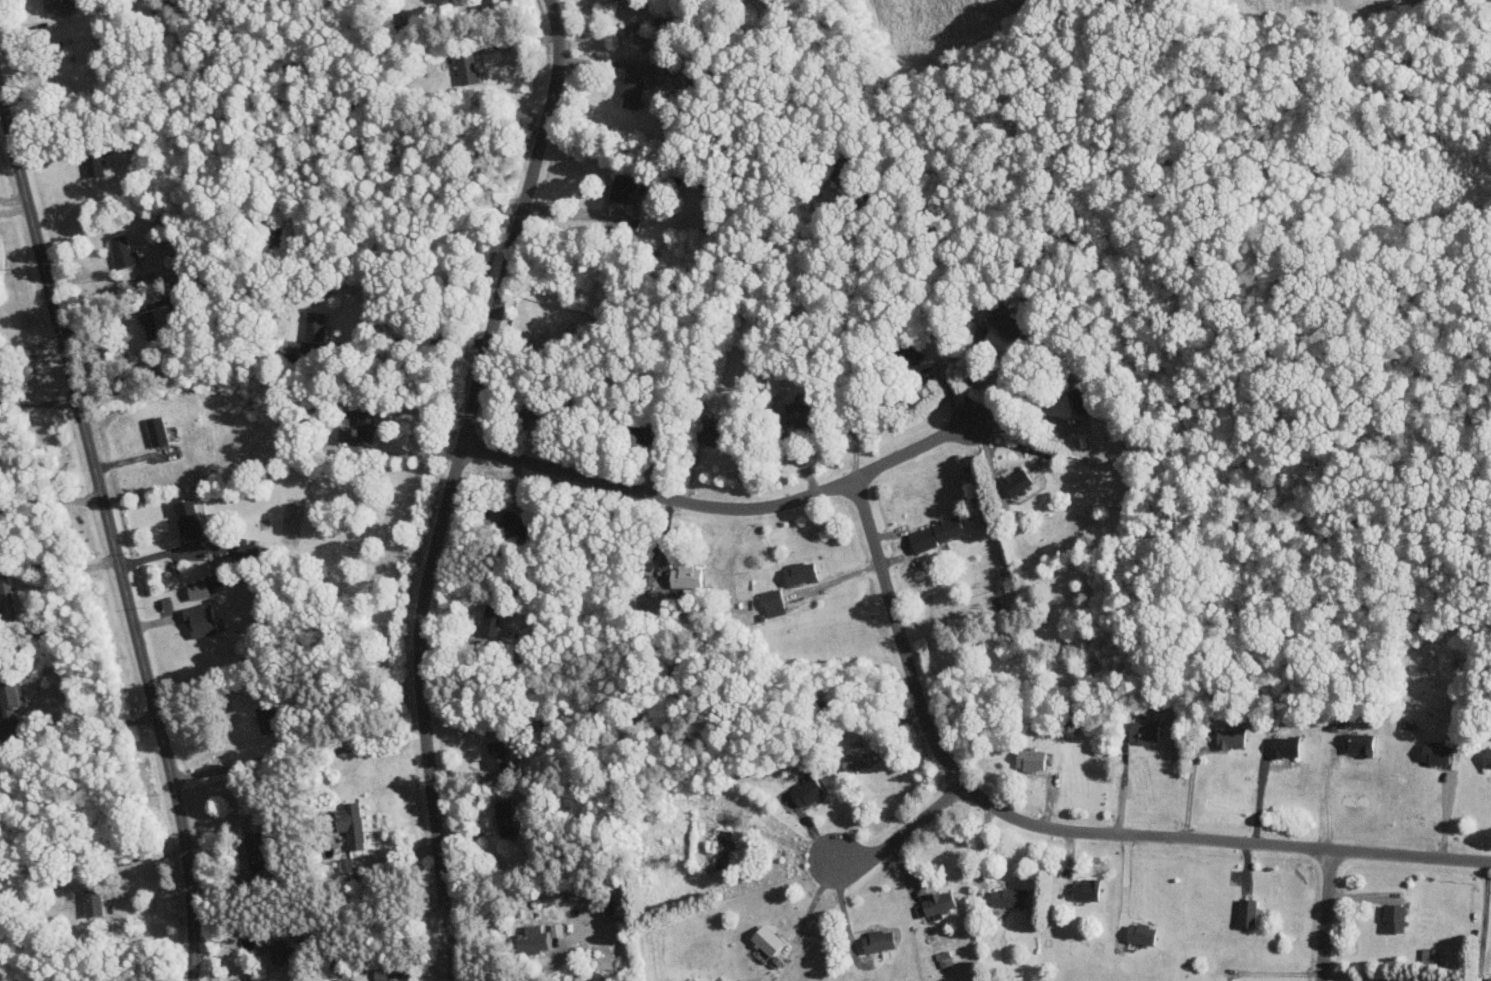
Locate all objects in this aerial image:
building: (55, 6)
building: (466, 68)
building: (632, 90)
building: (93, 164)
building: (620, 189)
road: (12, 198)
road: (14, 209)
road: (572, 214)
road: (421, 249)
building: (122, 252)
building: (154, 322)
building: (313, 326)
building: (1009, 326)
road: (401, 339)
road: (854, 345)
road: (31, 346)
building: (913, 353)
road: (969, 372)
building: (1082, 399)
road: (38, 402)
building: (799, 412)
road: (1023, 418)
building: (365, 427)
building: (156, 430)
building: (645, 434)
road: (408, 454)
building: (1016, 480)
road: (452, 485)
road: (50, 500)
road: (723, 508)
building: (190, 517)
building: (515, 523)
building: (936, 532)
road: (111, 534)
road: (171, 552)
building: (798, 572)
road: (57, 575)
building: (684, 576)
building: (6, 595)
building: (770, 601)
building: (199, 618)
building: (489, 620)
building: (7, 698)
building: (265, 718)
building: (0, 725)
building: (1068, 727)
road: (77, 729)
building: (1144, 731)
building: (1230, 737)
building: (1358, 743)
building: (1284, 746)
building: (1435, 752)
building: (496, 753)
building: (855, 756)
building: (1488, 757)
building: (1030, 758)
road: (247, 760)
road: (1122, 785)
road: (1188, 789)
building: (806, 791)
road: (1259, 796)
road: (1328, 799)
road: (1445, 815)
building: (503, 816)
building: (350, 823)
road: (1057, 830)
road: (902, 834)
building: (256, 846)
building: (1086, 889)
building: (1007, 897)
building: (92, 901)
building: (935, 902)
road: (812, 906)
road: (1487, 909)
building: (1247, 911)
road: (1327, 915)
building: (1395, 917)
road: (370, 920)
building: (579, 924)
building: (555, 929)
building: (1140, 933)
building: (533, 939)
building: (766, 939)
building: (878, 940)
building: (277, 948)
road: (542, 969)
building: (379, 974)
building: (1489, 978)

